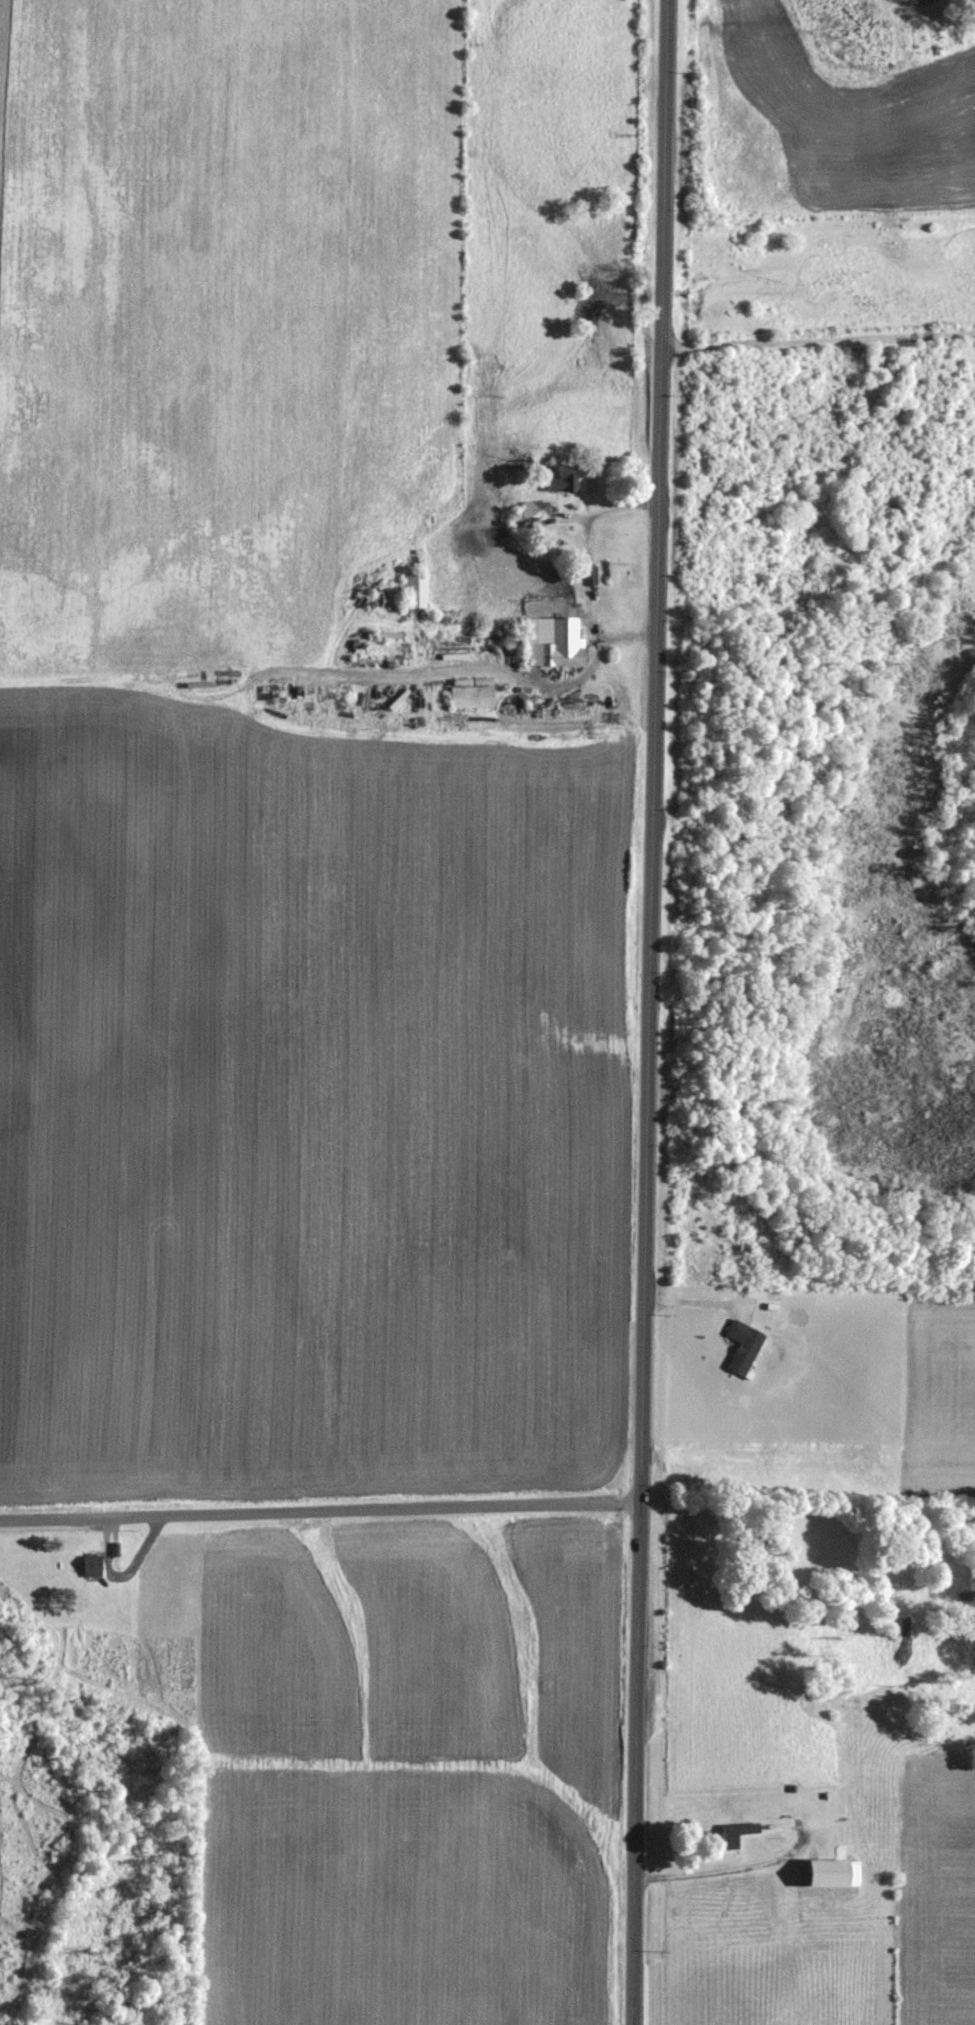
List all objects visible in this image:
road: (818, 338)
building: (559, 480)
building: (538, 509)
road: (586, 571)
building: (414, 591)
building: (549, 642)
building: (469, 692)
road: (650, 1012)
building: (741, 1345)
road: (320, 1509)
building: (89, 1565)
building: (727, 1835)
road: (699, 1872)
building: (827, 1873)

